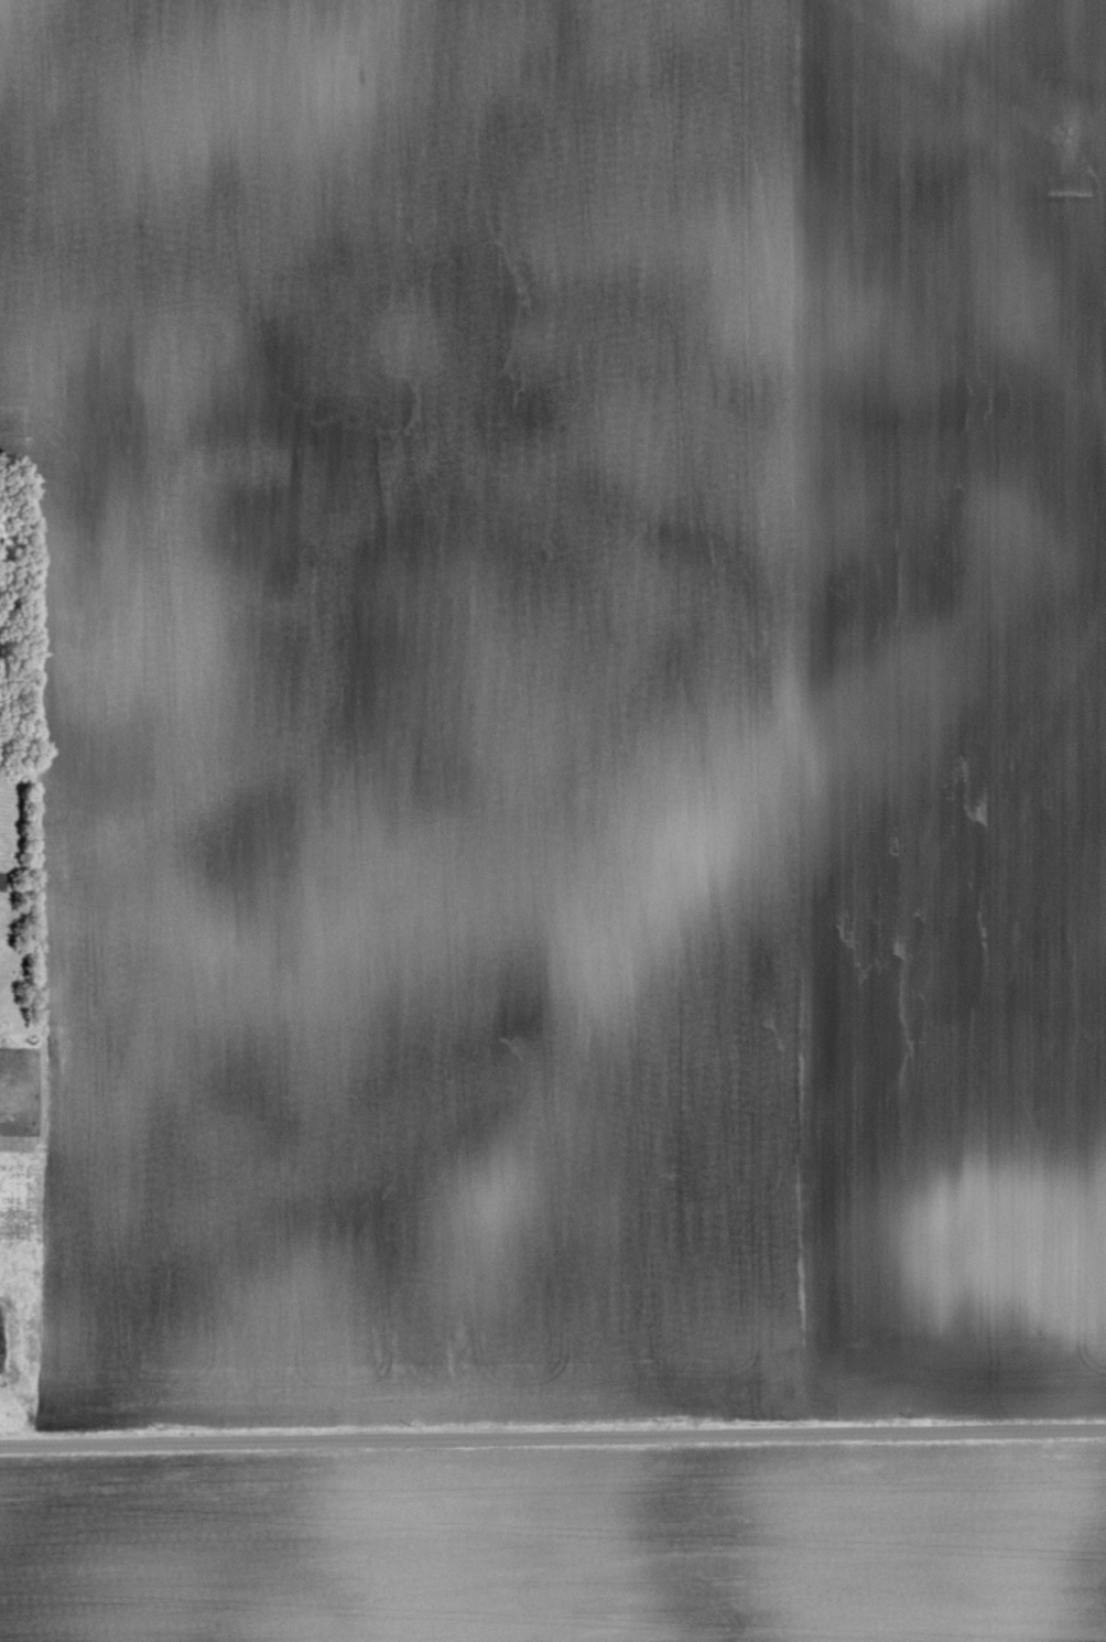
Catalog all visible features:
road: (553, 1440)

